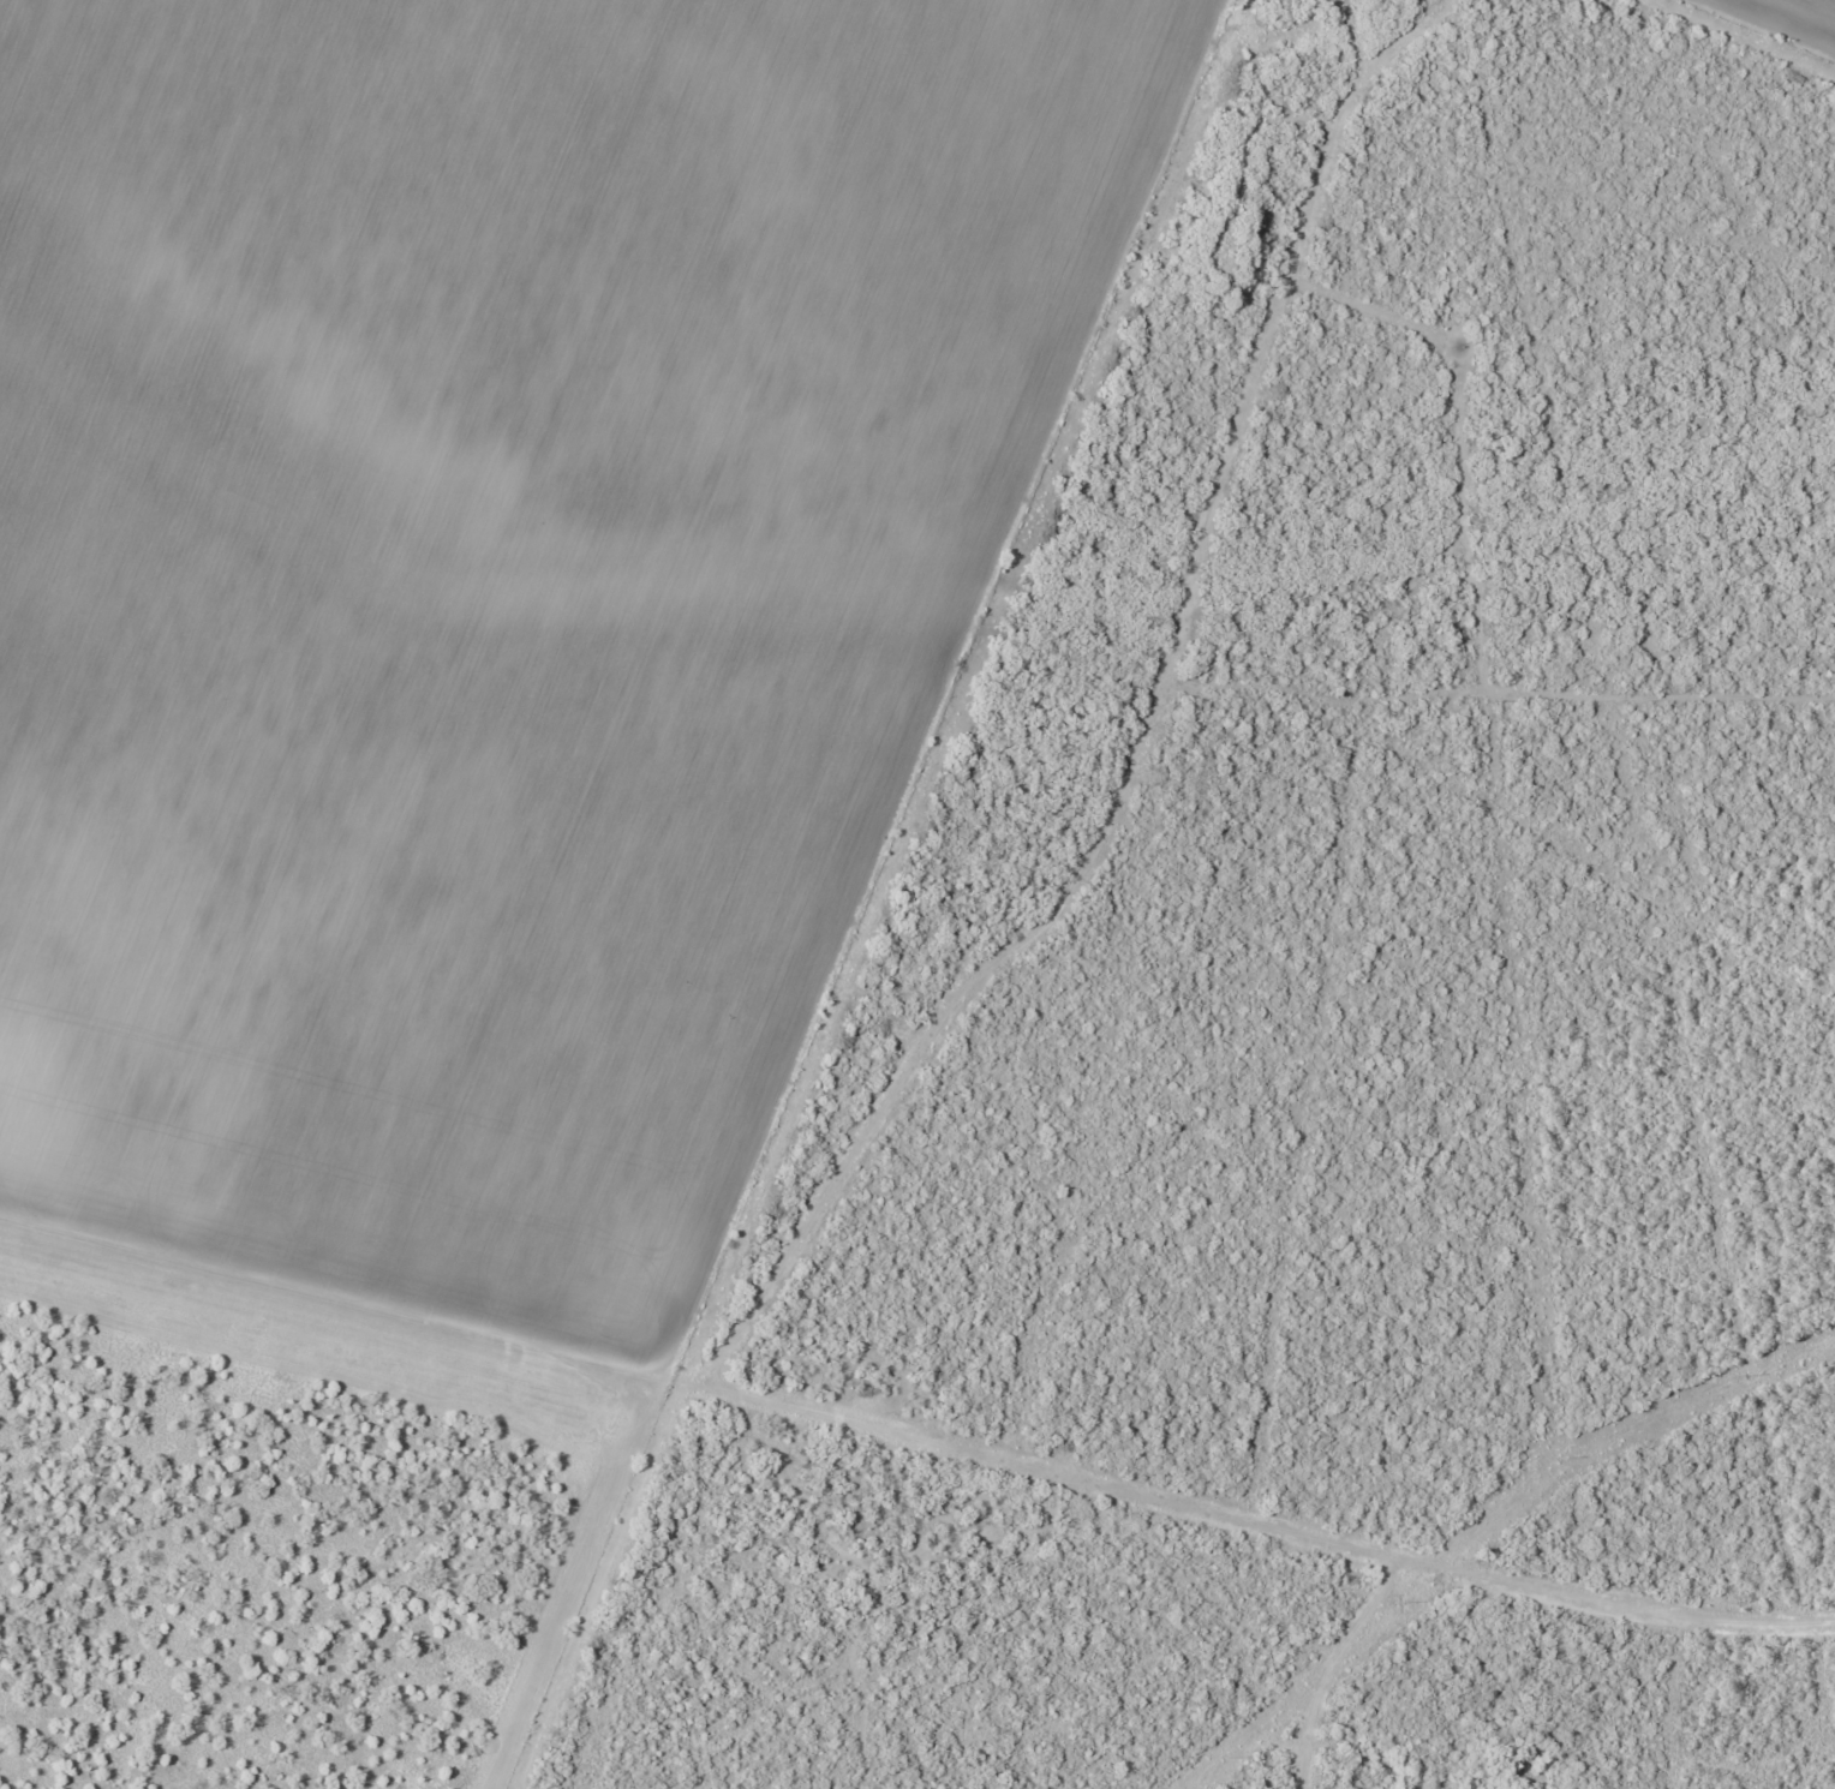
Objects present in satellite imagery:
road: (915, 1467)

